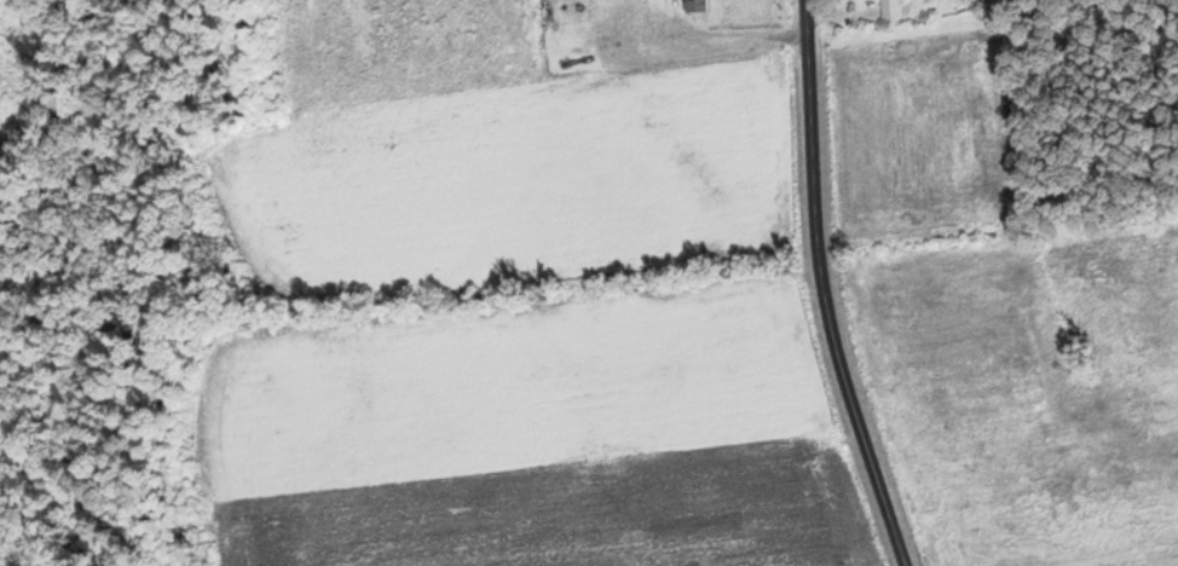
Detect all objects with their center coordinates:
building: (697, 1)
building: (890, 8)
road: (827, 288)

